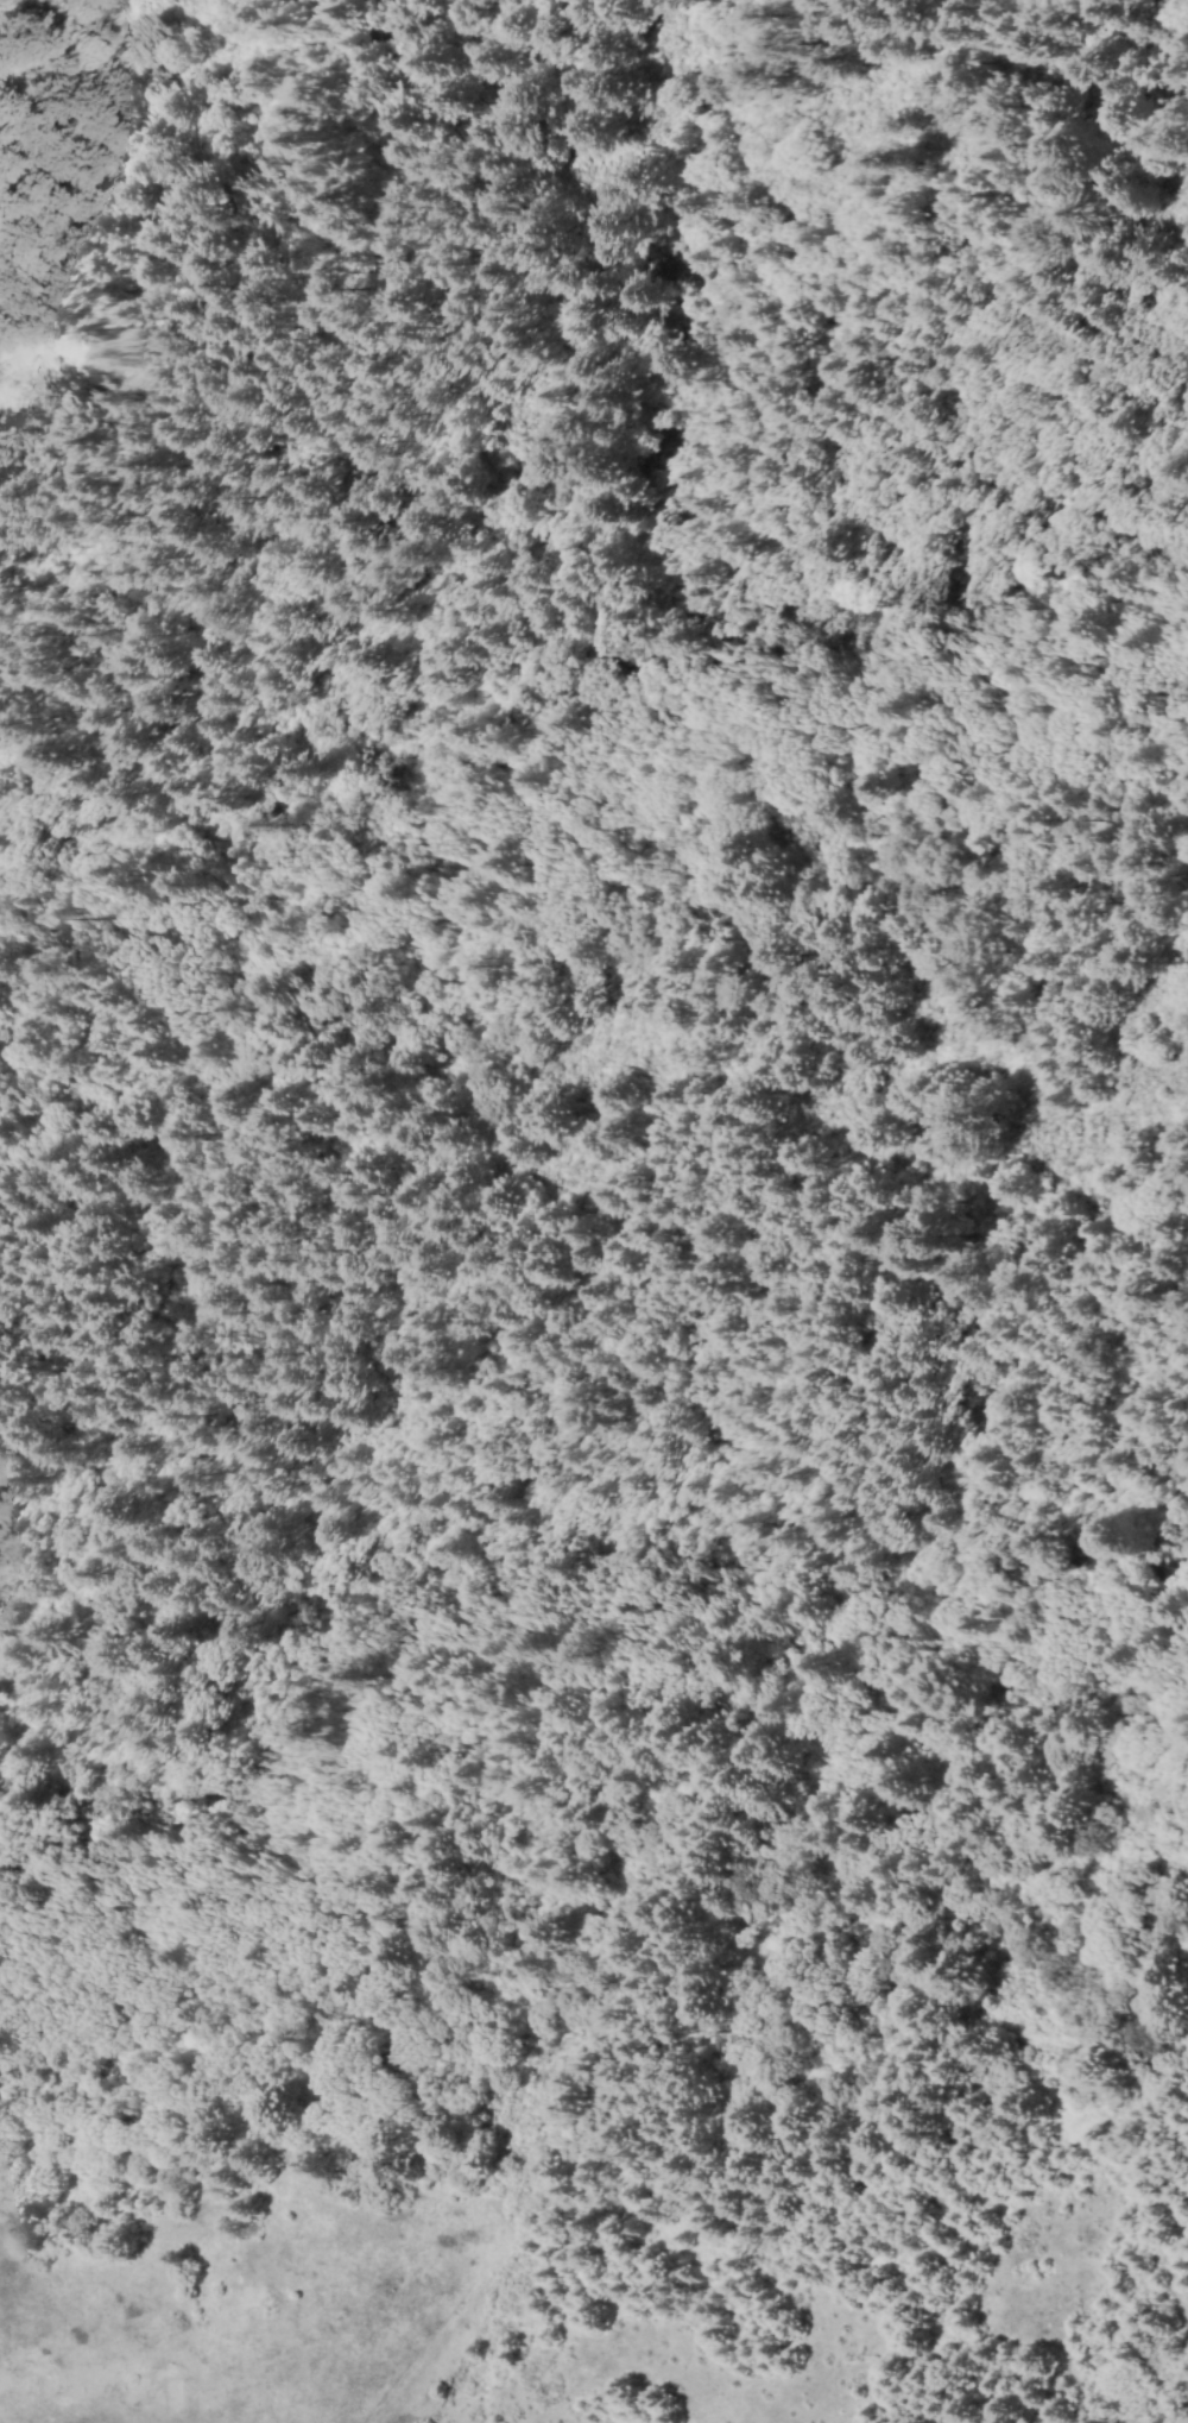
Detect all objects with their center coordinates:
road: (911, 62)
road: (301, 100)

